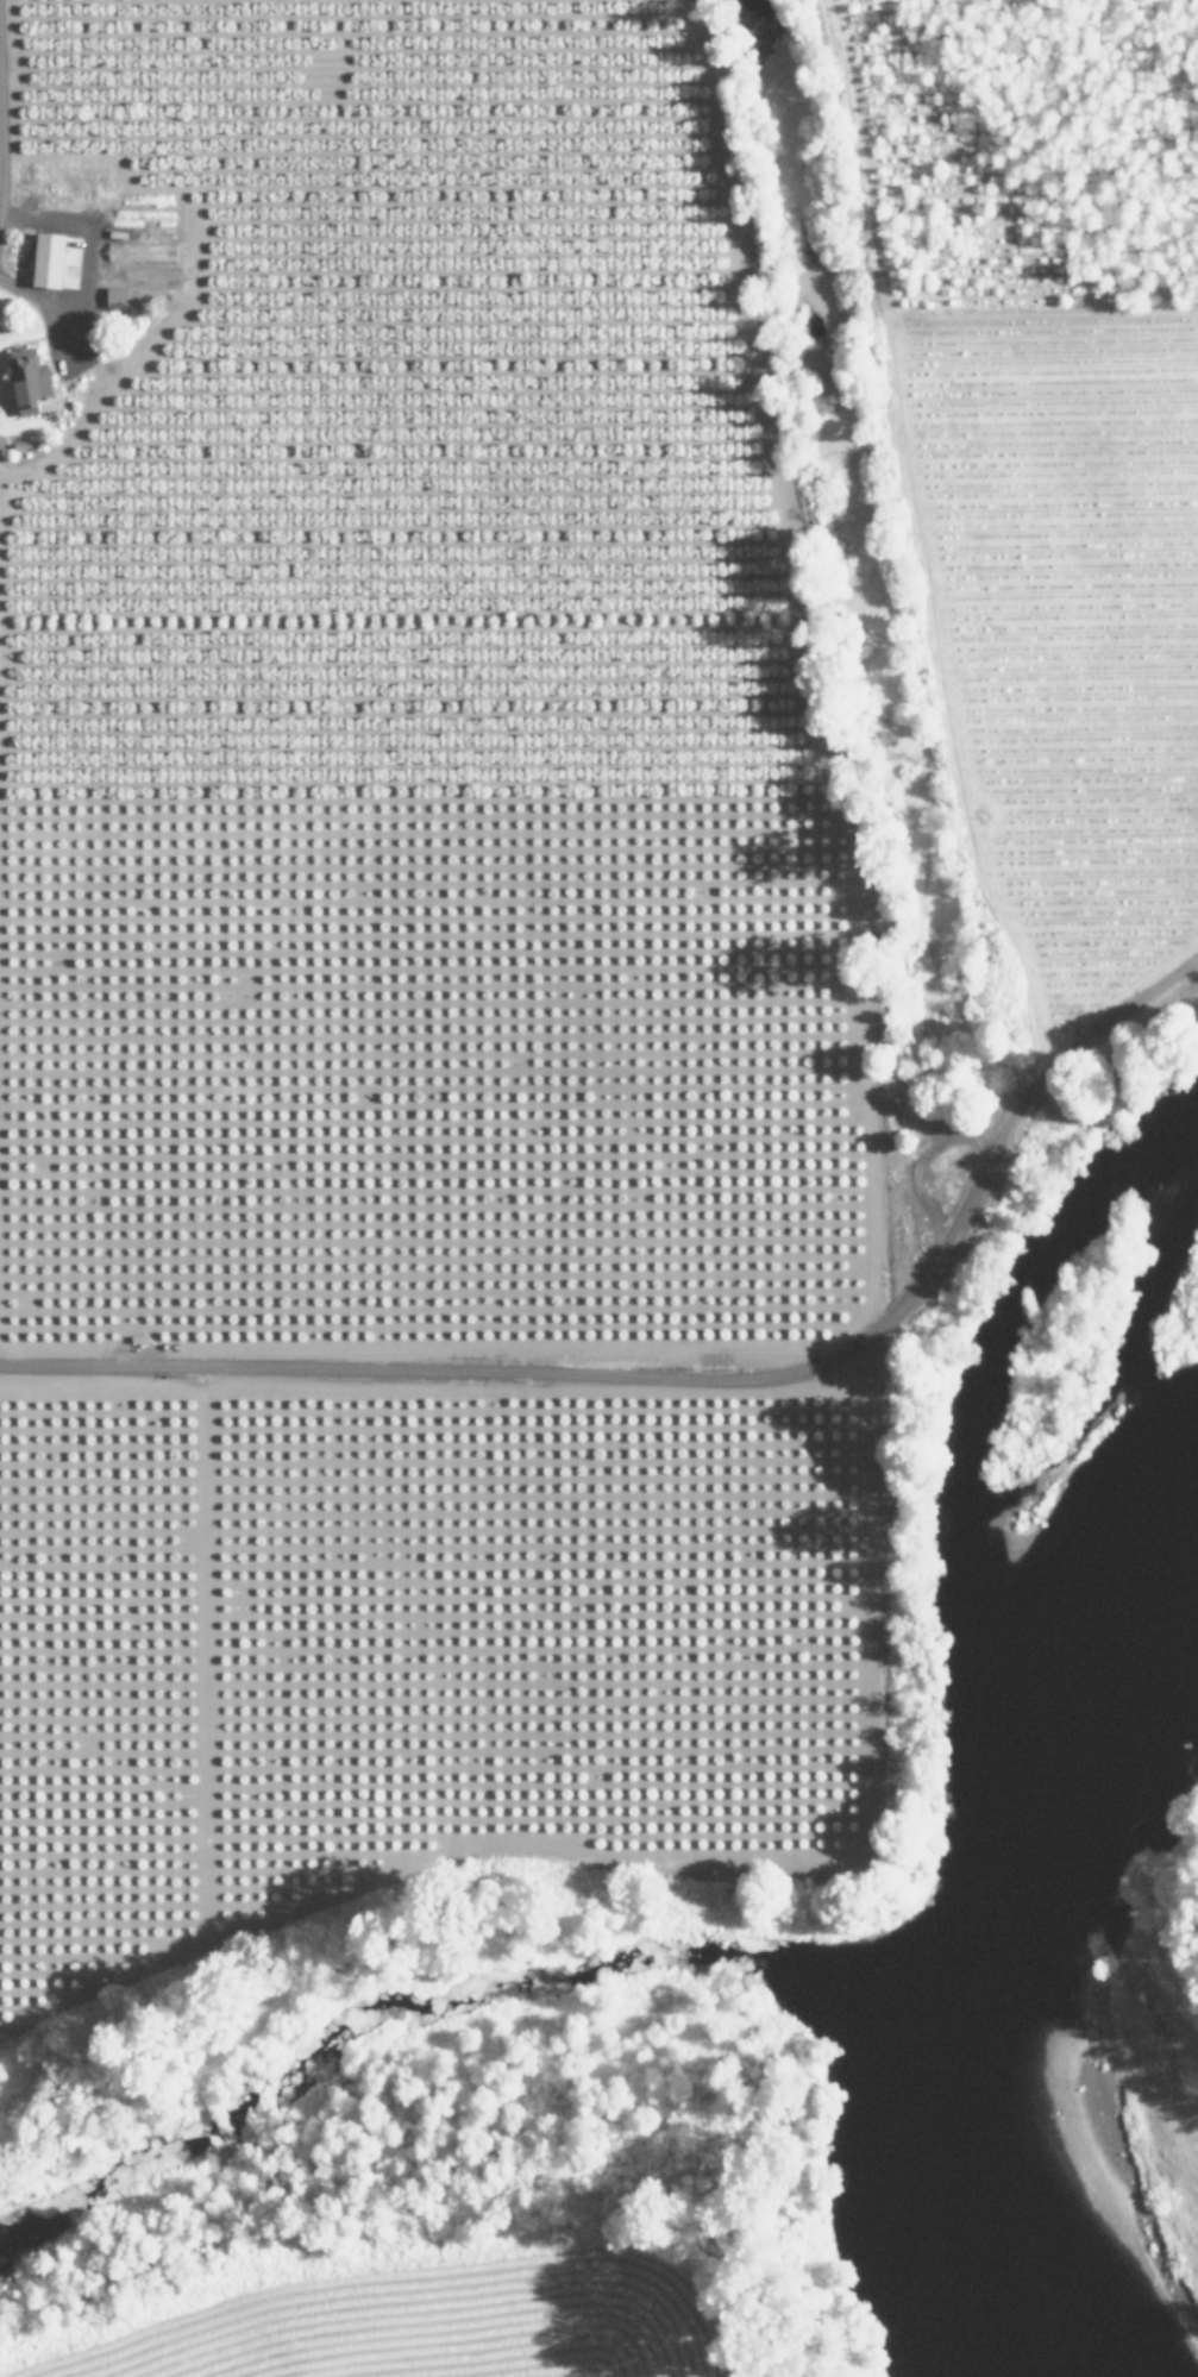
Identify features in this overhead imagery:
road: (1, 152)
building: (45, 259)
building: (114, 295)
building: (25, 378)
crop: (1058, 458)
road: (1147, 885)
crop: (394, 993)
road: (631, 1373)
river: (977, 1963)

